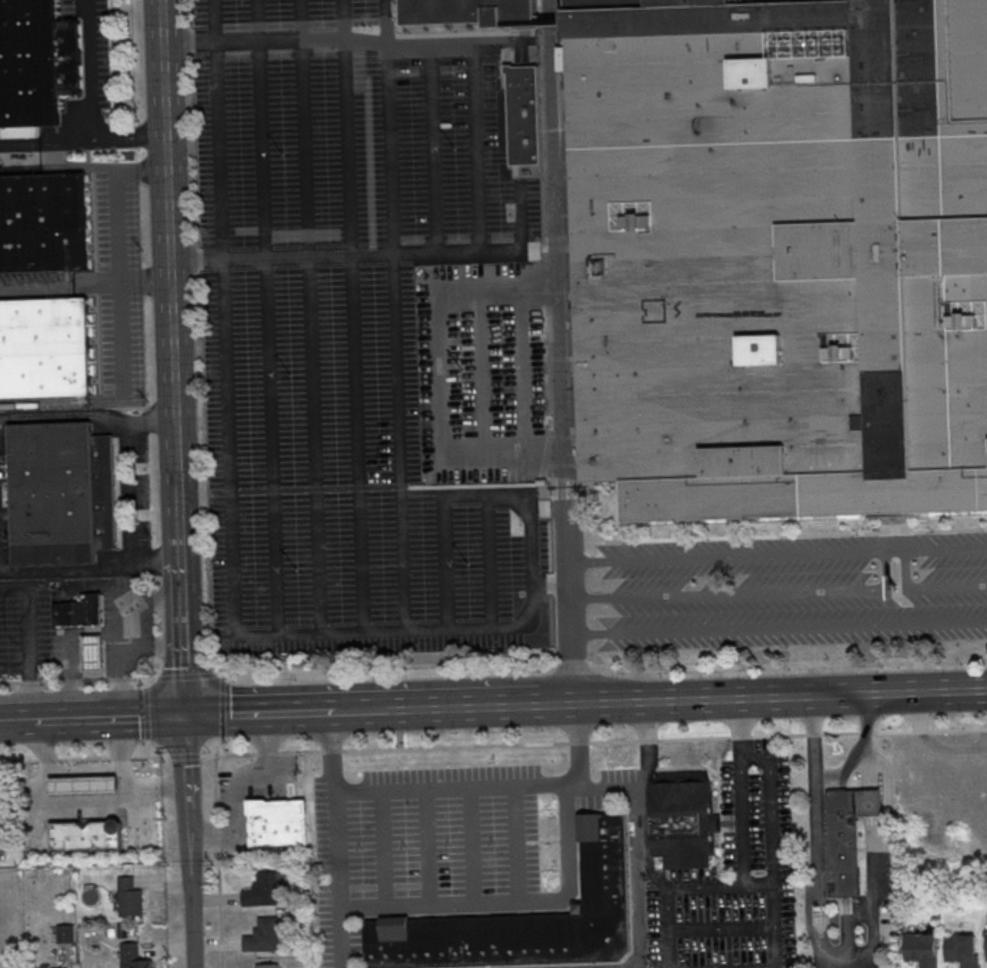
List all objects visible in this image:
road: (550, 5)
building: (466, 13)
road: (341, 21)
road: (385, 22)
road: (349, 43)
building: (36, 62)
road: (92, 99)
building: (524, 114)
road: (258, 129)
road: (304, 129)
road: (217, 130)
road: (53, 143)
road: (347, 148)
road: (432, 158)
road: (389, 208)
building: (42, 222)
building: (780, 254)
road: (373, 255)
road: (168, 270)
road: (119, 276)
road: (144, 283)
road: (60, 289)
building: (499, 300)
parking lot: (369, 342)
building: (44, 346)
road: (271, 365)
road: (564, 366)
road: (522, 371)
road: (480, 373)
road: (354, 375)
road: (440, 375)
road: (229, 377)
road: (313, 377)
road: (48, 403)
road: (97, 408)
road: (88, 415)
building: (60, 492)
road: (127, 493)
road: (472, 494)
road: (934, 548)
road: (274, 555)
road: (489, 563)
road: (447, 564)
road: (359, 566)
road: (318, 567)
road: (884, 569)
road: (91, 571)
road: (532, 572)
road: (927, 586)
parking lot: (789, 592)
road: (125, 594)
building: (80, 611)
road: (184, 627)
road: (781, 628)
road: (314, 637)
road: (30, 642)
road: (121, 649)
road: (72, 650)
building: (93, 652)
road: (598, 666)
road: (186, 676)
road: (77, 679)
road: (146, 684)
road: (783, 694)
road: (560, 702)
road: (464, 705)
road: (361, 709)
road: (308, 710)
road: (233, 712)
traffic signals: (186, 714)
road: (110, 717)
road: (148, 717)
road: (17, 721)
road: (742, 728)
road: (594, 741)
road: (578, 746)
road: (648, 747)
road: (150, 752)
road: (120, 758)
road: (186, 759)
road: (188, 760)
road: (85, 761)
road: (235, 781)
building: (85, 785)
gas station: (85, 785)
road: (452, 788)
road: (74, 803)
road: (334, 808)
building: (0, 819)
building: (684, 820)
building: (280, 822)
parking lot: (428, 833)
building: (87, 836)
road: (569, 836)
building: (850, 837)
road: (745, 838)
road: (515, 845)
road: (470, 846)
road: (426, 848)
road: (383, 849)
road: (218, 860)
parking lot: (734, 878)
road: (190, 888)
building: (263, 891)
building: (131, 898)
building: (528, 921)
building: (66, 933)
building: (264, 936)
road: (341, 938)
building: (986, 943)
road: (776, 948)
building: (923, 950)
building: (963, 950)
building: (133, 957)
building: (49, 966)
building: (269, 966)
road: (855, 966)

